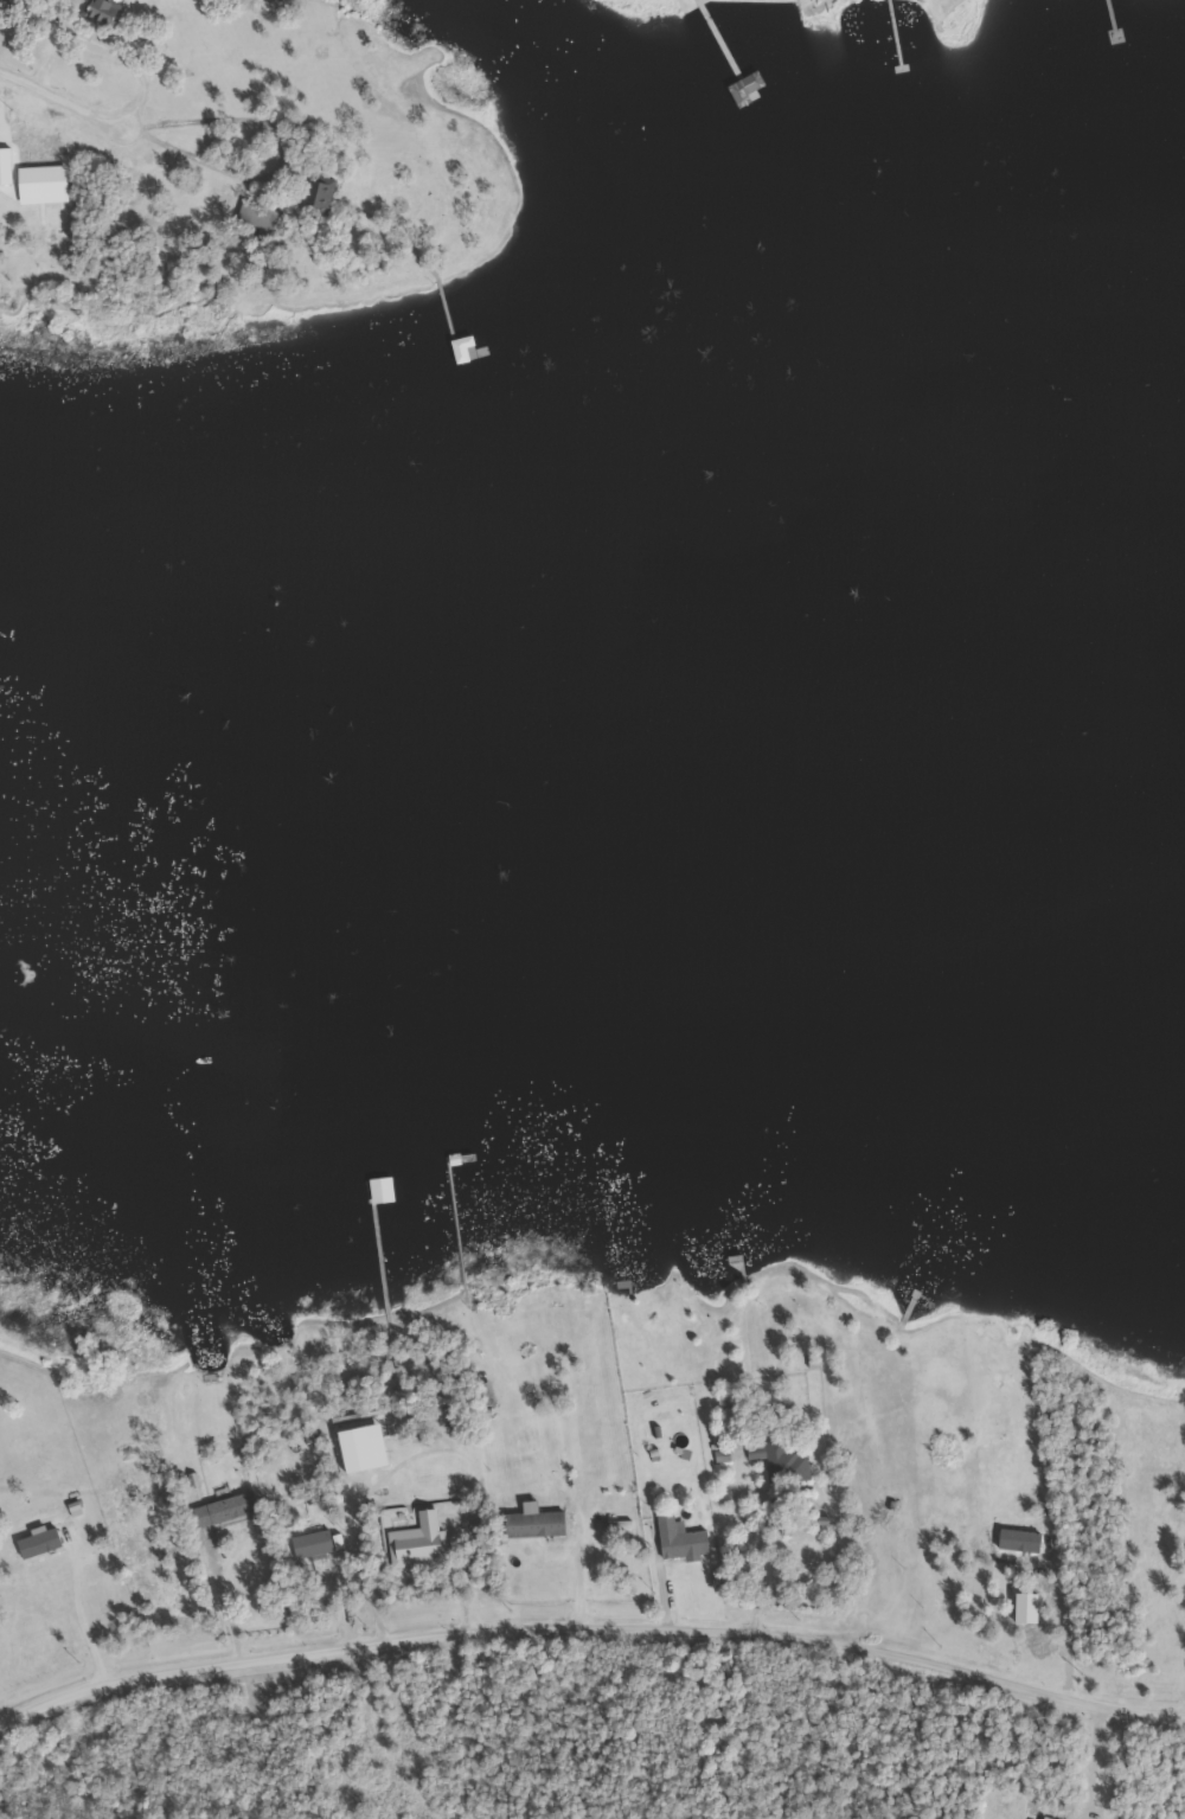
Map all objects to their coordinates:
building: (107, 12)
building: (749, 89)
road: (63, 98)
building: (319, 193)
building: (63, 212)
building: (262, 219)
building: (385, 1189)
building: (487, 1395)
building: (448, 1408)
building: (788, 1463)
building: (226, 1510)
building: (537, 1523)
building: (684, 1539)

